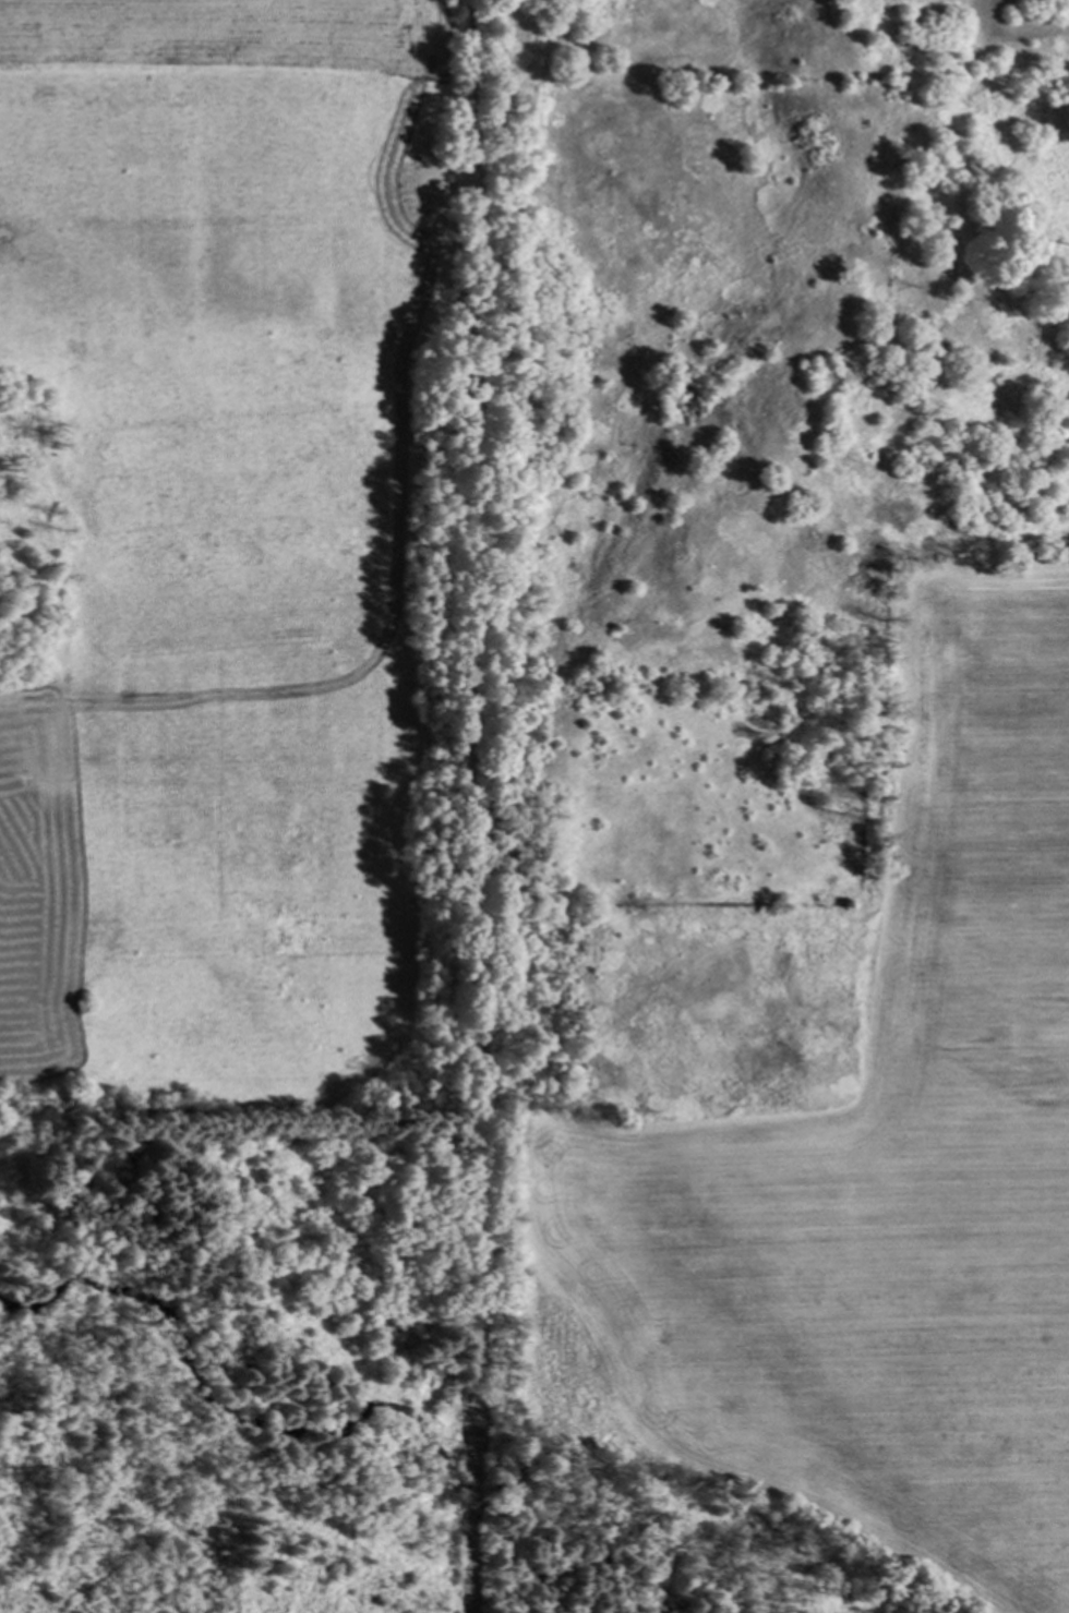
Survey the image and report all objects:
road: (469, 806)

